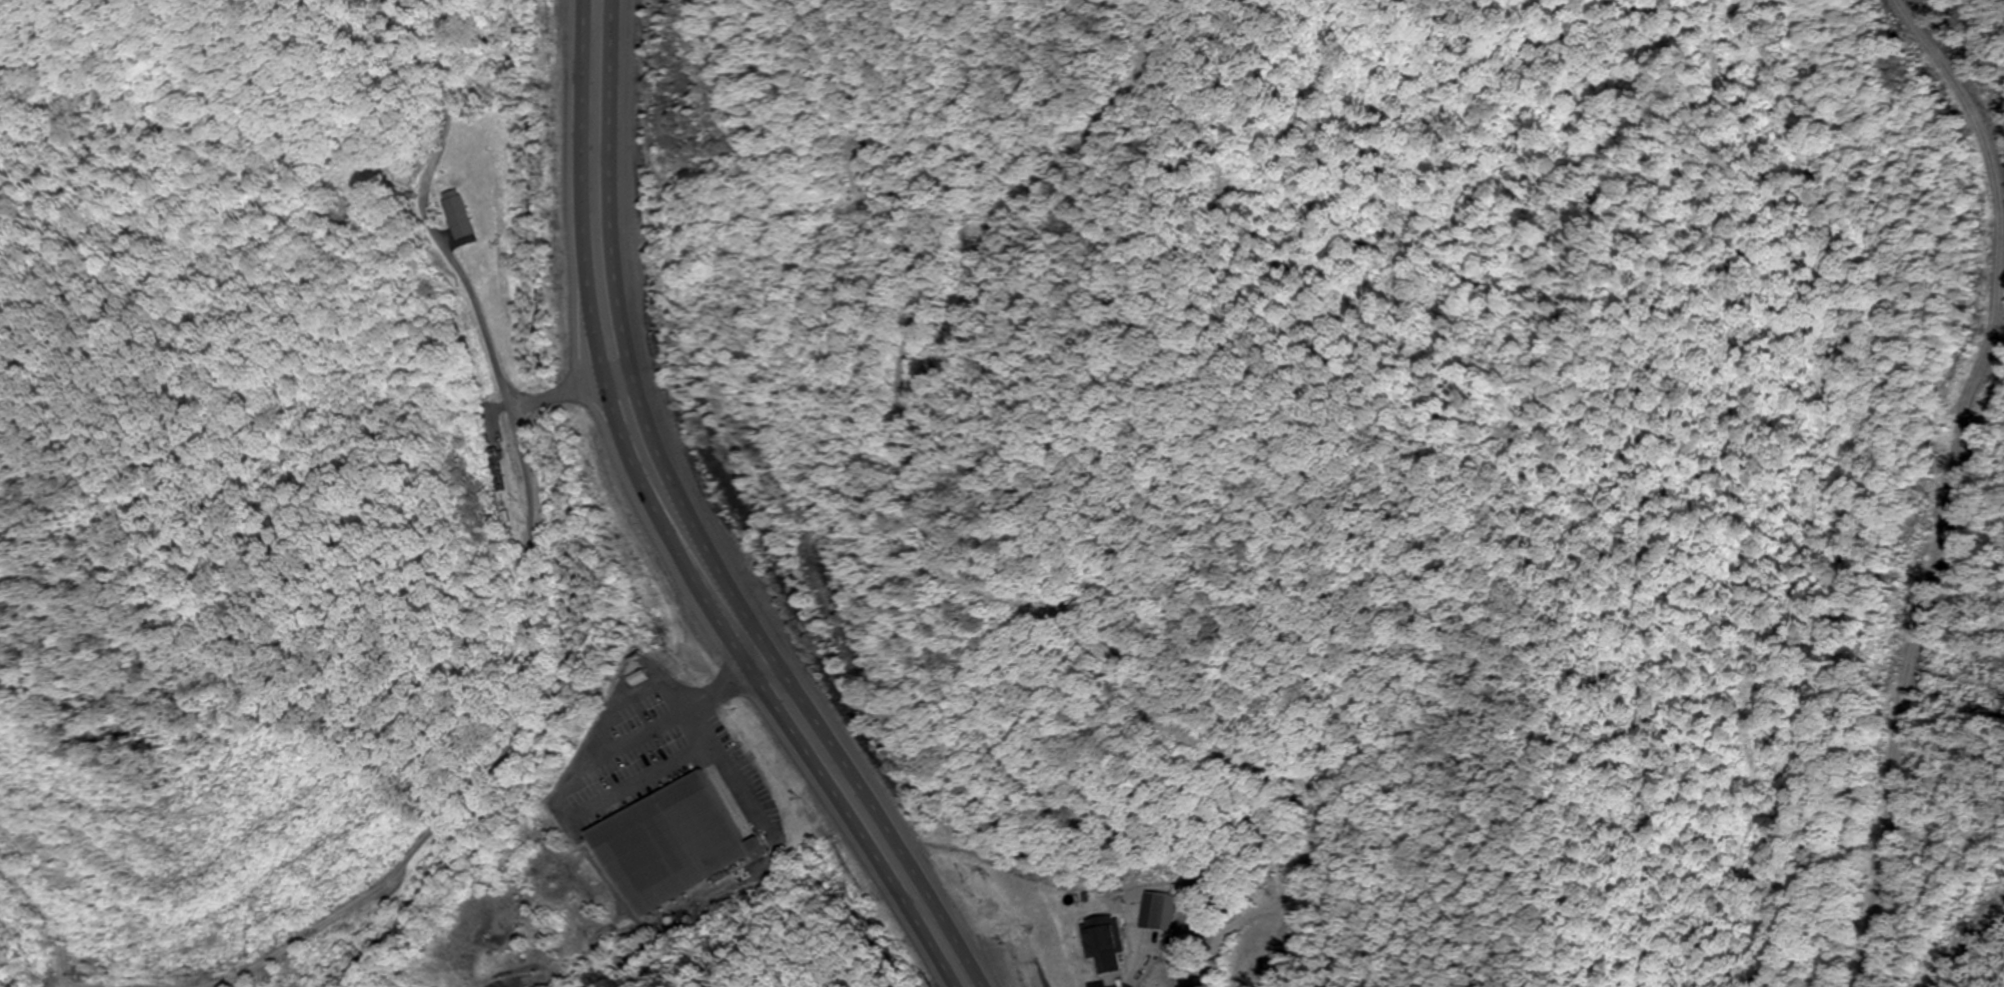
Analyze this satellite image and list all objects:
building: (344, 213)
building: (462, 214)
road: (559, 396)
building: (496, 470)
road: (661, 530)
road: (696, 530)
road: (532, 554)
building: (671, 844)
building: (1152, 911)
building: (1106, 943)

